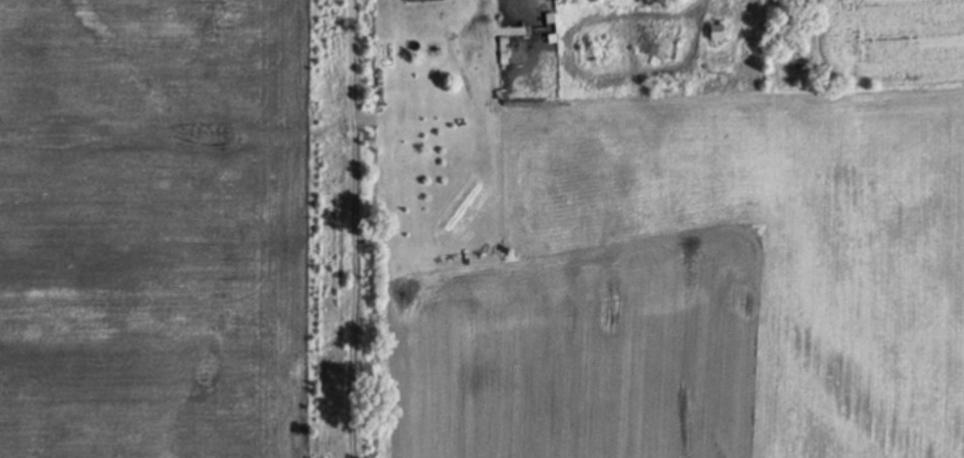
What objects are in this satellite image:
building: (412, 0)
building: (718, 27)
building: (527, 47)

